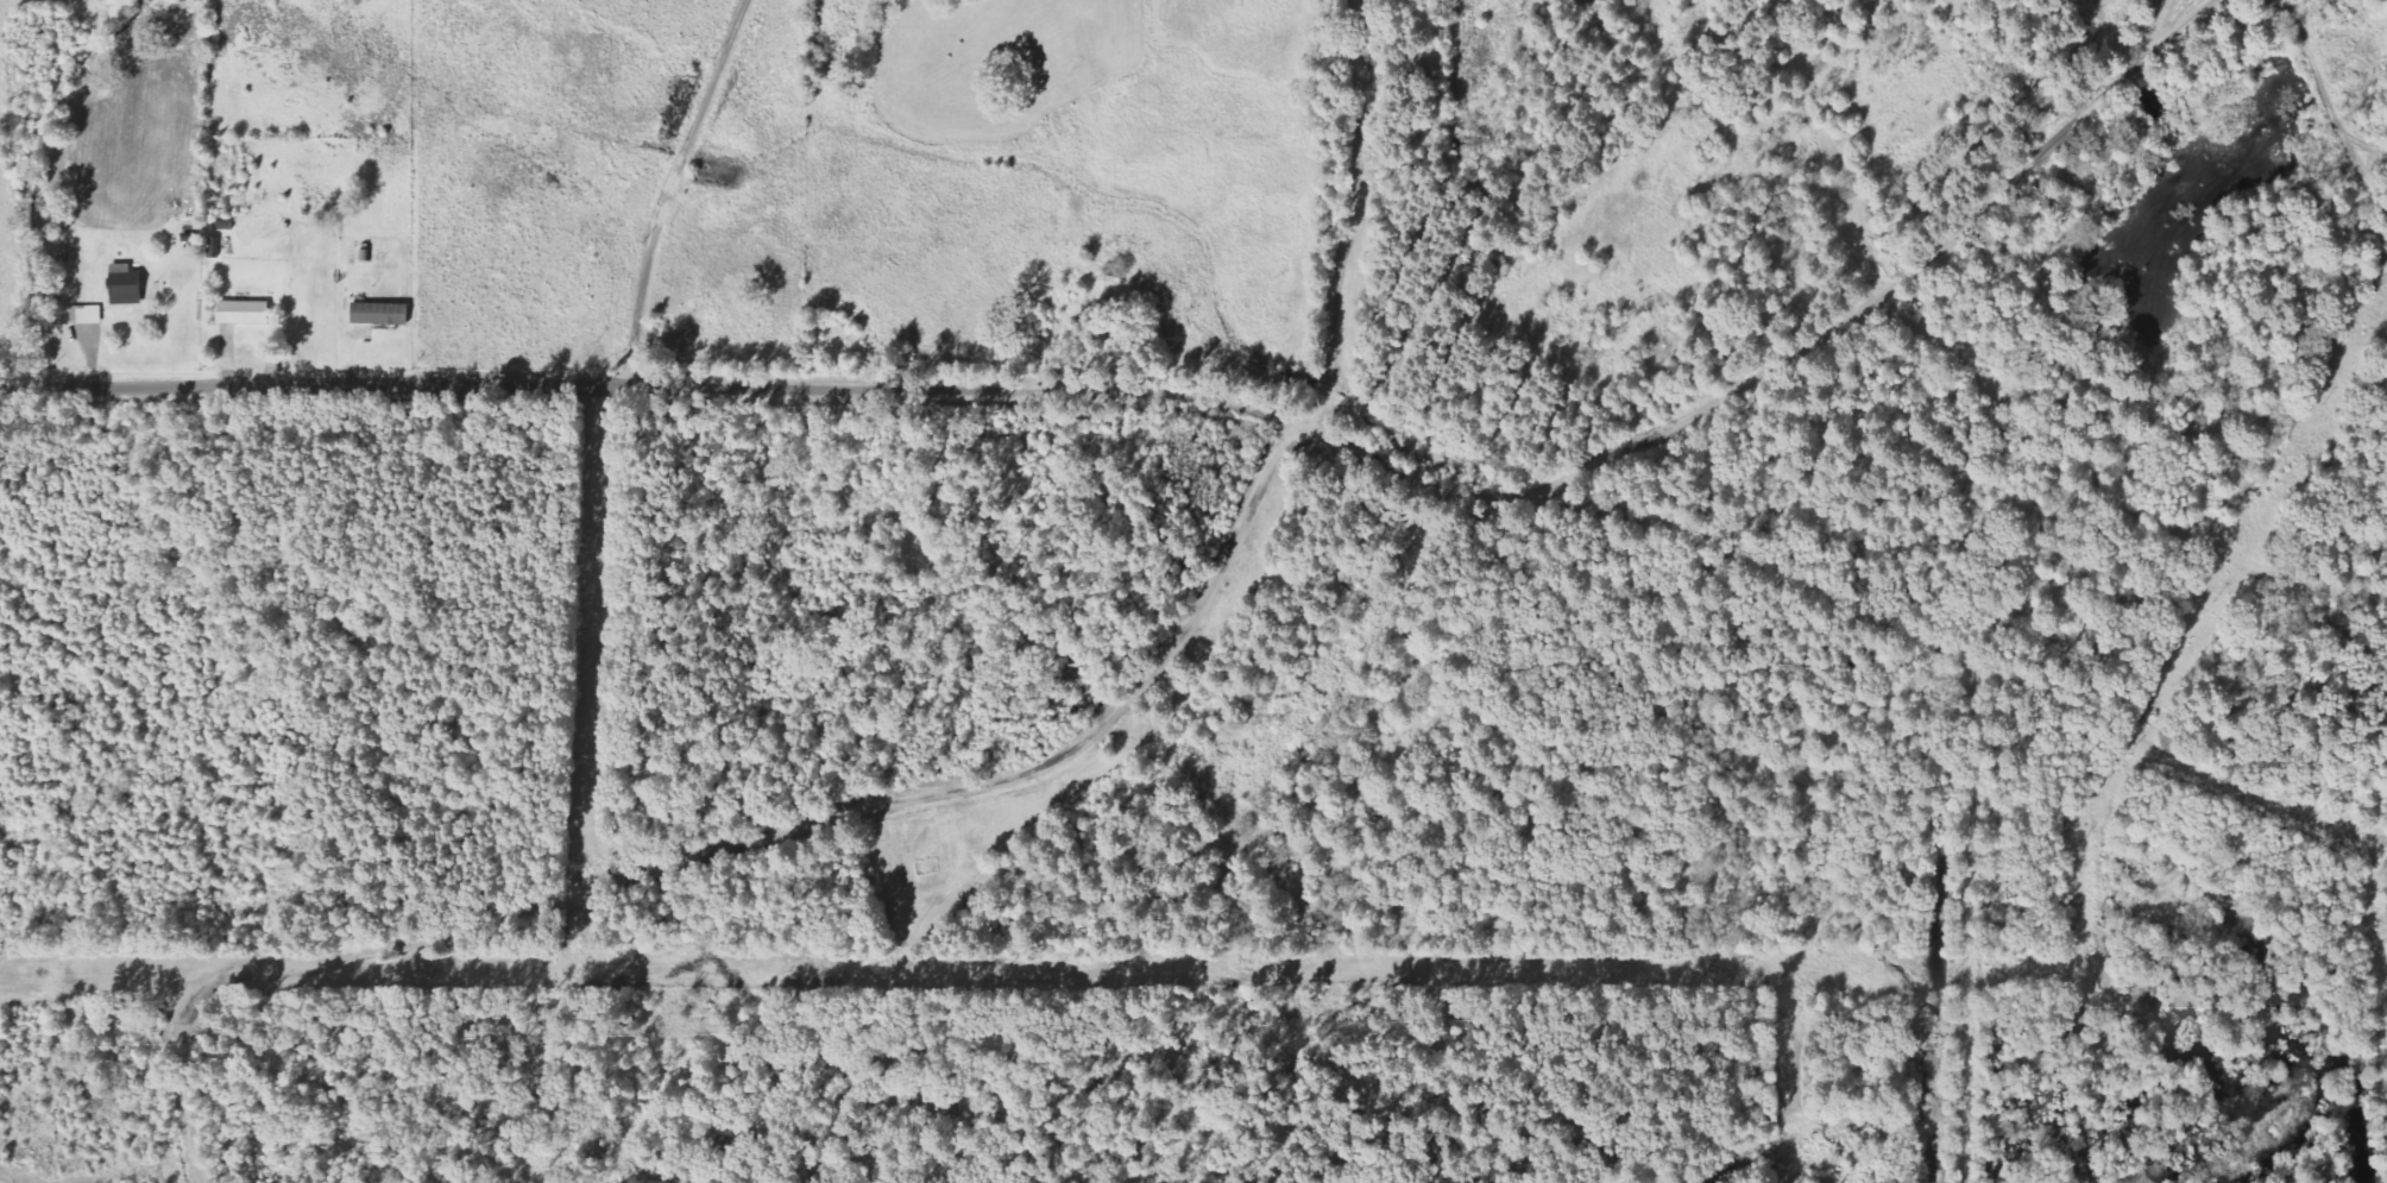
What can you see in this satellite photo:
road: (672, 188)
road: (1352, 218)
building: (214, 248)
building: (124, 287)
road: (1889, 291)
building: (241, 314)
building: (86, 316)
building: (378, 316)
road: (655, 386)
road: (1854, 610)
road: (731, 848)

